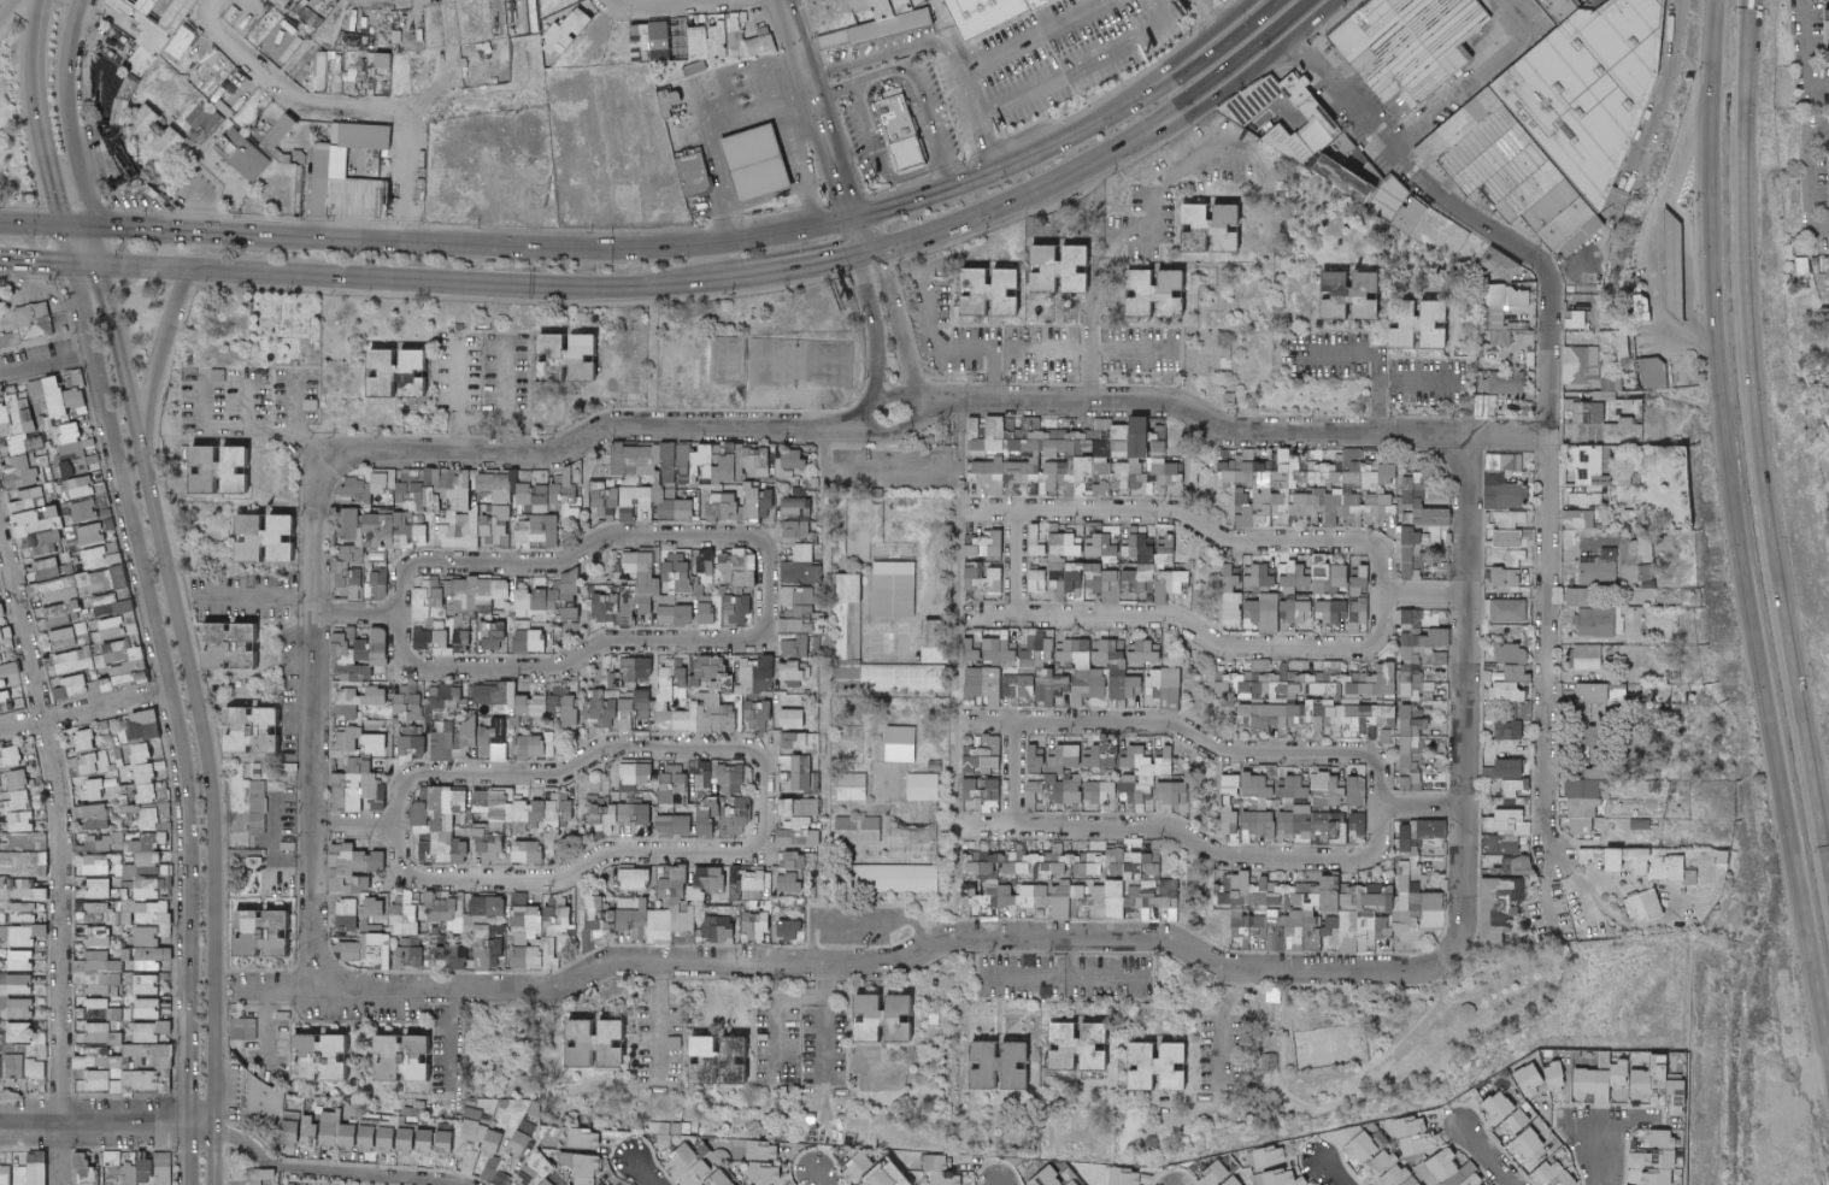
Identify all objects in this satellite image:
gas station: (748, 164)
gas station: (1670, 263)
park: (1307, 290)
park: (611, 354)
park: (675, 358)
park: (724, 360)
park: (798, 361)
parking lot: (478, 371)
park: (166, 428)
park: (1439, 1028)
park: (487, 1047)

